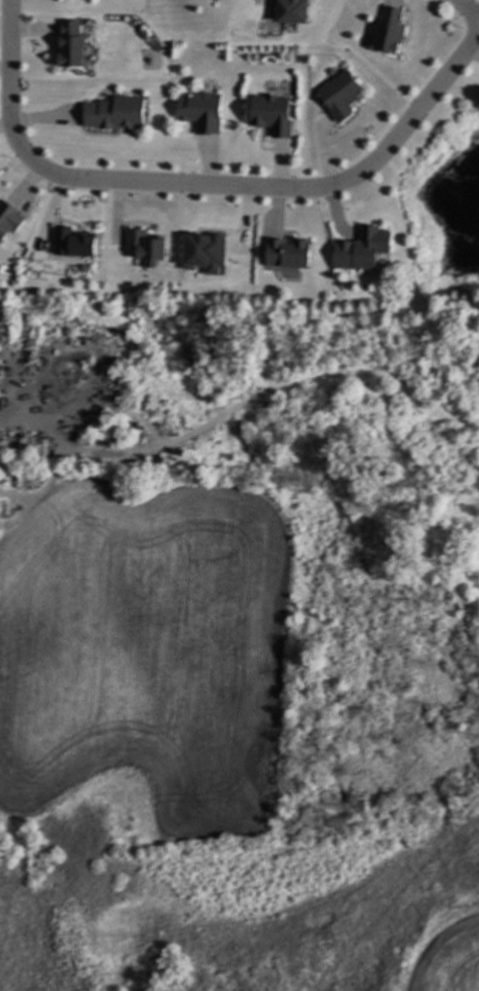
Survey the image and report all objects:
building: (213, 1)
road: (466, 9)
building: (290, 12)
building: (387, 30)
building: (69, 44)
road: (11, 71)
building: (342, 96)
building: (203, 112)
building: (116, 114)
building: (271, 115)
road: (273, 189)
building: (10, 219)
building: (72, 243)
building: (148, 244)
building: (362, 250)
building: (201, 251)
building: (289, 251)
building: (0, 353)
building: (1, 366)
road: (19, 416)
crop: (144, 649)
crop: (448, 959)

